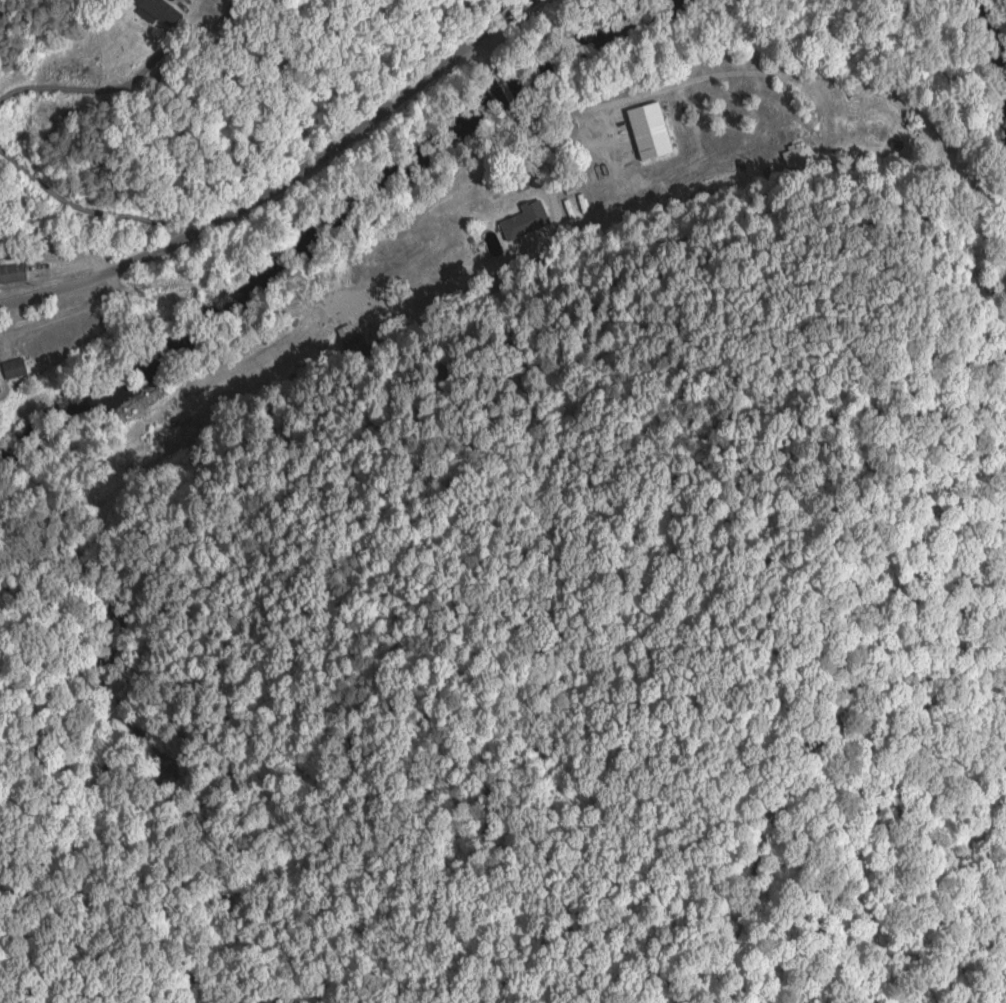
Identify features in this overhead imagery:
building: (162, 11)
road: (96, 87)
road: (280, 179)
road: (83, 207)
building: (459, 236)
building: (14, 272)
building: (16, 367)
building: (1, 387)

